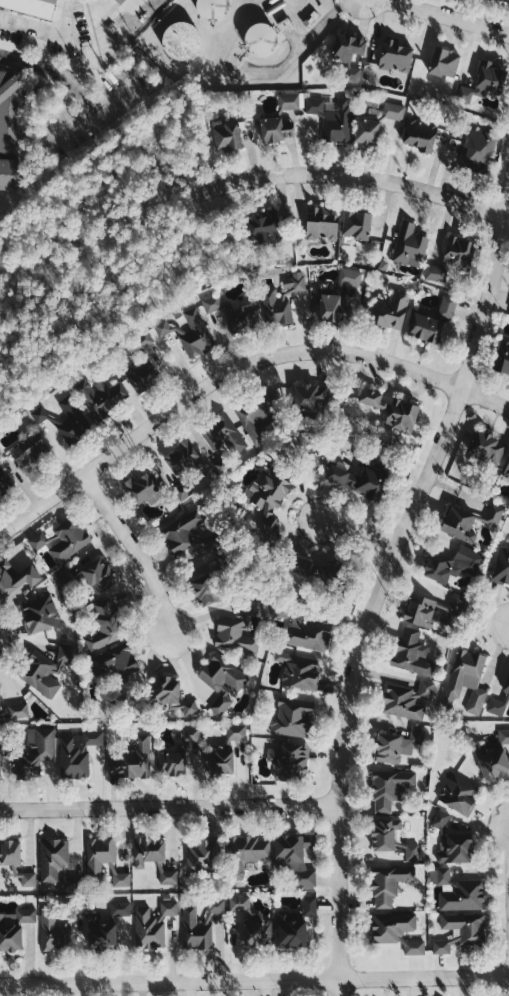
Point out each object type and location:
building: (120, 1)
building: (32, 6)
building: (214, 9)
road: (443, 17)
building: (284, 25)
road: (49, 31)
building: (184, 40)
building: (256, 40)
building: (394, 56)
building: (345, 59)
building: (441, 63)
building: (482, 82)
road: (76, 88)
building: (289, 101)
building: (389, 112)
building: (331, 117)
road: (69, 127)
building: (11, 129)
building: (276, 130)
building: (364, 132)
building: (228, 135)
building: (417, 135)
building: (476, 152)
road: (364, 176)
building: (322, 223)
building: (357, 224)
building: (268, 228)
building: (407, 245)
building: (451, 260)
building: (350, 277)
building: (281, 299)
building: (213, 302)
building: (448, 306)
building: (508, 307)
building: (334, 308)
building: (389, 313)
building: (242, 320)
building: (162, 328)
building: (422, 329)
building: (195, 334)
building: (142, 340)
building: (501, 356)
road: (233, 369)
building: (144, 378)
building: (101, 397)
building: (309, 403)
building: (383, 410)
building: (258, 415)
building: (72, 422)
building: (221, 434)
building: (485, 448)
building: (30, 449)
building: (179, 457)
building: (220, 468)
building: (506, 468)
building: (358, 480)
building: (5, 485)
building: (142, 488)
building: (182, 491)
building: (265, 501)
building: (497, 515)
building: (456, 524)
road: (358, 528)
building: (186, 535)
building: (67, 540)
road: (132, 553)
building: (446, 565)
building: (500, 566)
building: (316, 570)
road: (385, 575)
building: (29, 576)
building: (86, 577)
building: (5, 583)
building: (203, 592)
building: (247, 607)
building: (428, 610)
building: (37, 615)
building: (104, 626)
building: (306, 633)
building: (234, 635)
building: (410, 652)
building: (63, 654)
building: (113, 662)
building: (300, 672)
building: (37, 674)
building: (220, 682)
building: (465, 682)
building: (164, 690)
building: (499, 698)
building: (405, 701)
building: (188, 708)
building: (13, 713)
building: (292, 717)
building: (234, 732)
building: (189, 734)
building: (504, 736)
building: (394, 744)
building: (32, 754)
building: (75, 754)
building: (131, 761)
building: (217, 762)
building: (287, 763)
building: (491, 763)
building: (0, 764)
building: (171, 764)
building: (387, 788)
building: (457, 794)
road: (168, 808)
building: (439, 820)
building: (387, 843)
building: (453, 849)
building: (146, 851)
building: (9, 853)
building: (244, 853)
building: (99, 856)
building: (201, 857)
building: (293, 858)
building: (56, 865)
building: (167, 877)
building: (26, 878)
building: (122, 878)
building: (386, 884)
building: (457, 891)
building: (214, 905)
building: (249, 923)
building: (150, 925)
building: (292, 925)
building: (56, 926)
building: (105, 927)
building: (13, 928)
building: (194, 930)
building: (394, 931)
building: (458, 931)
road: (254, 982)
road: (340, 988)

